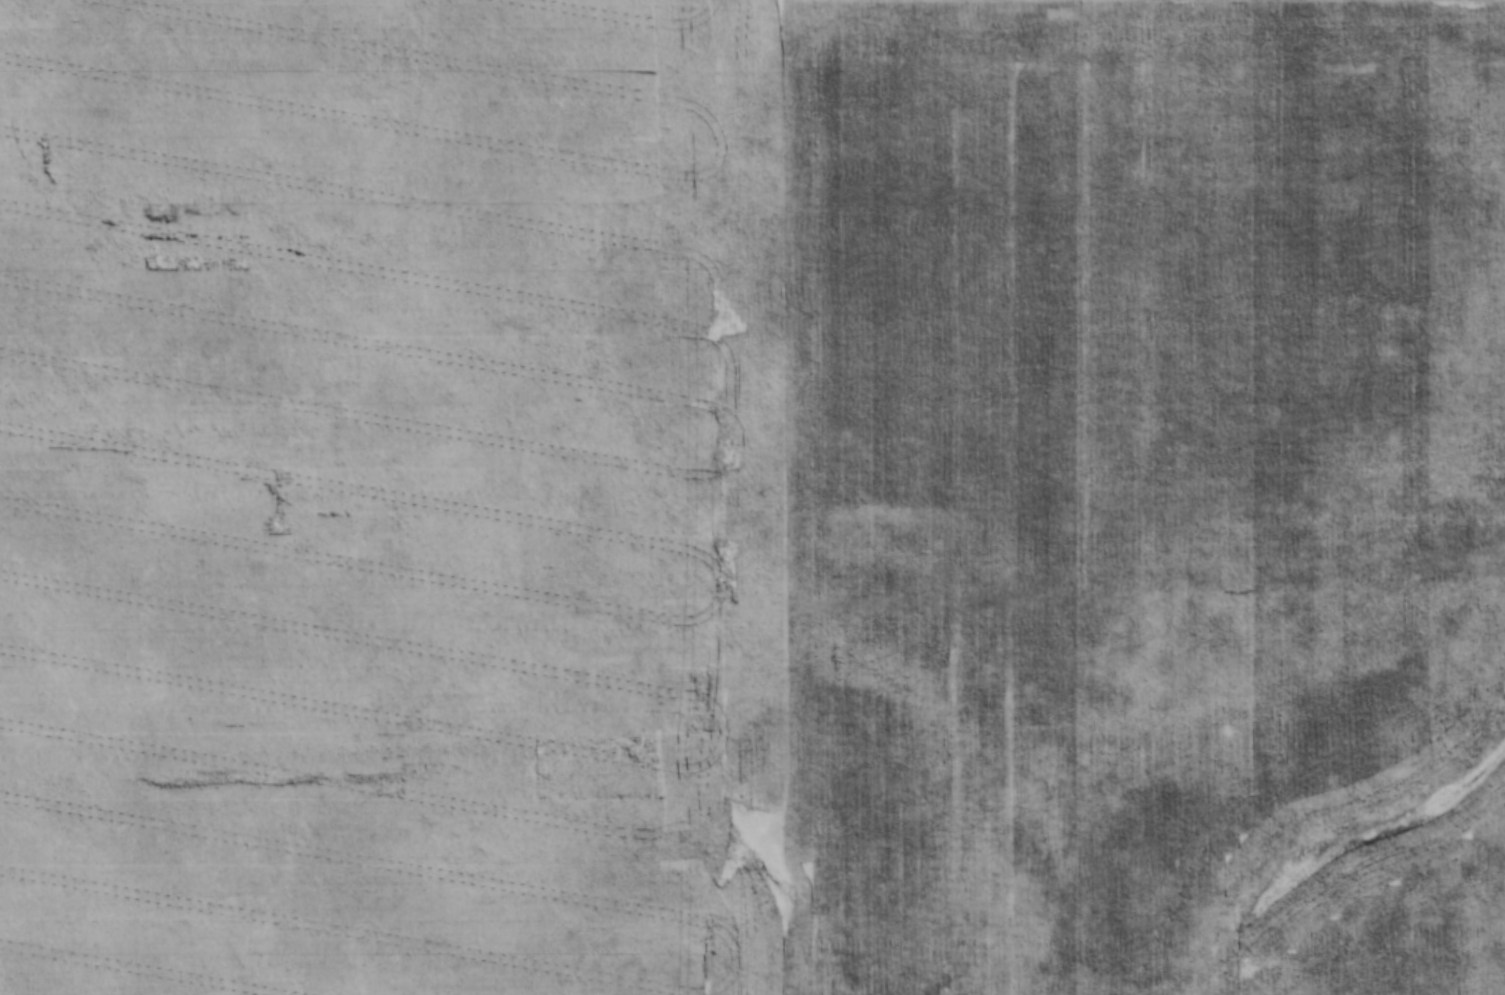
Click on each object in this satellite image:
road: (1165, 0)

